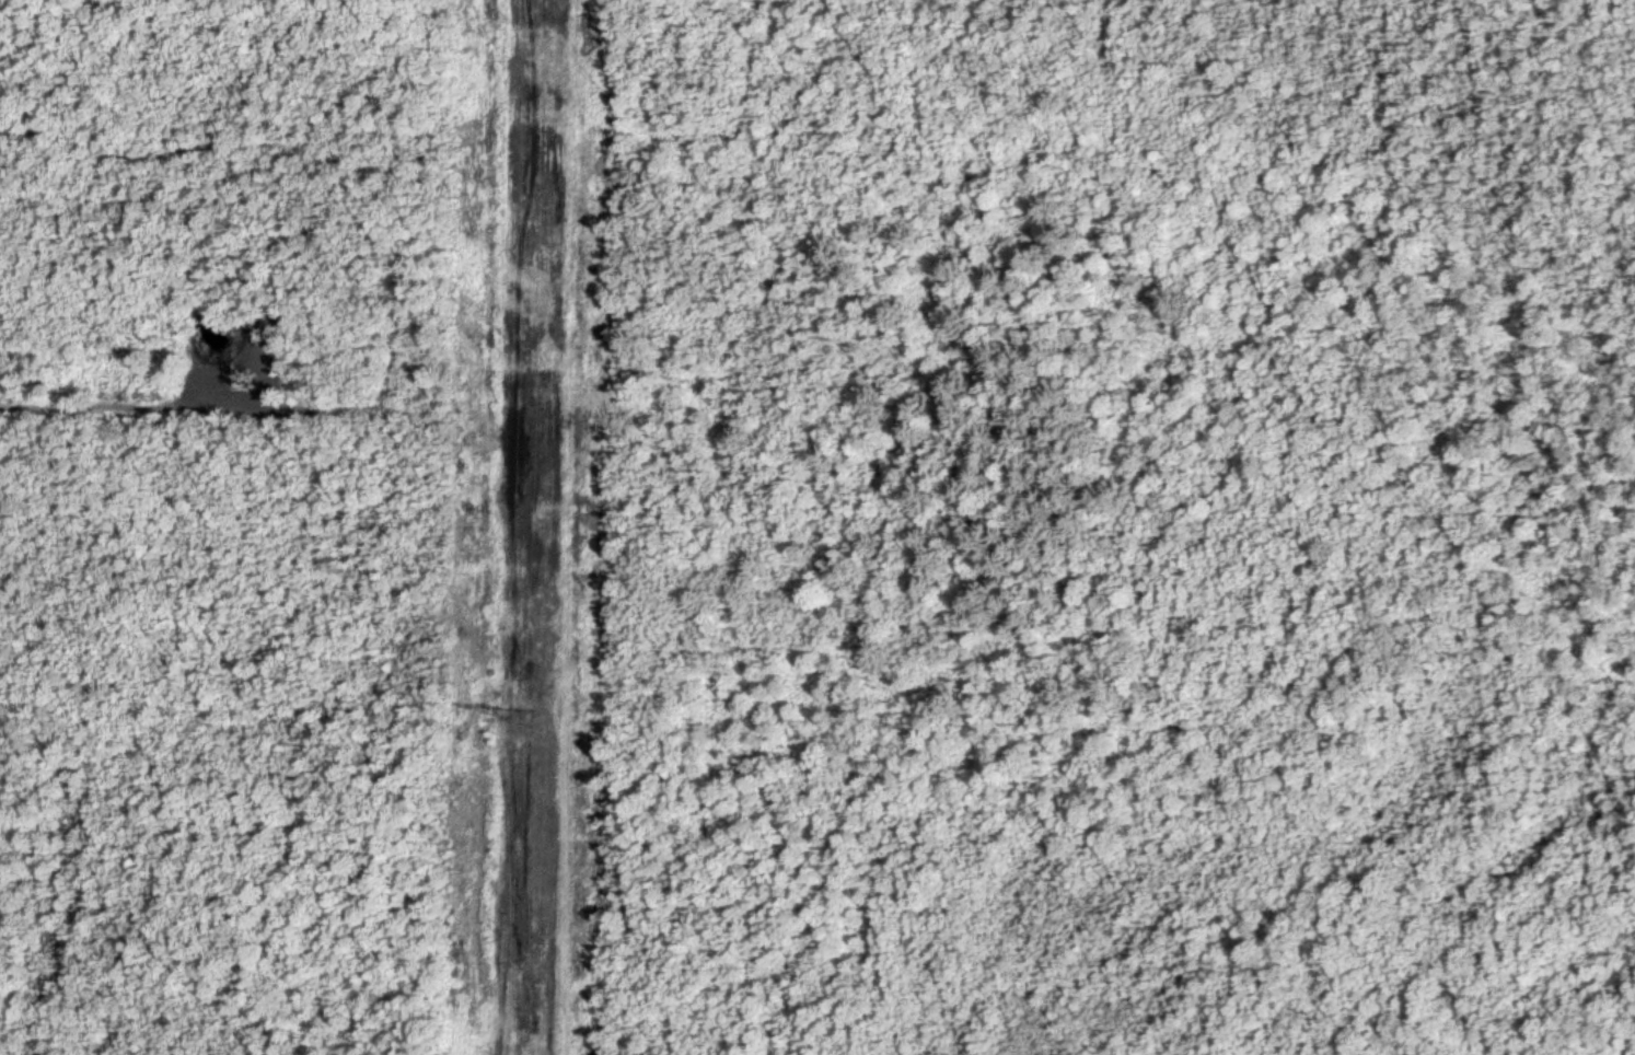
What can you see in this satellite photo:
power tower: (531, 718)

